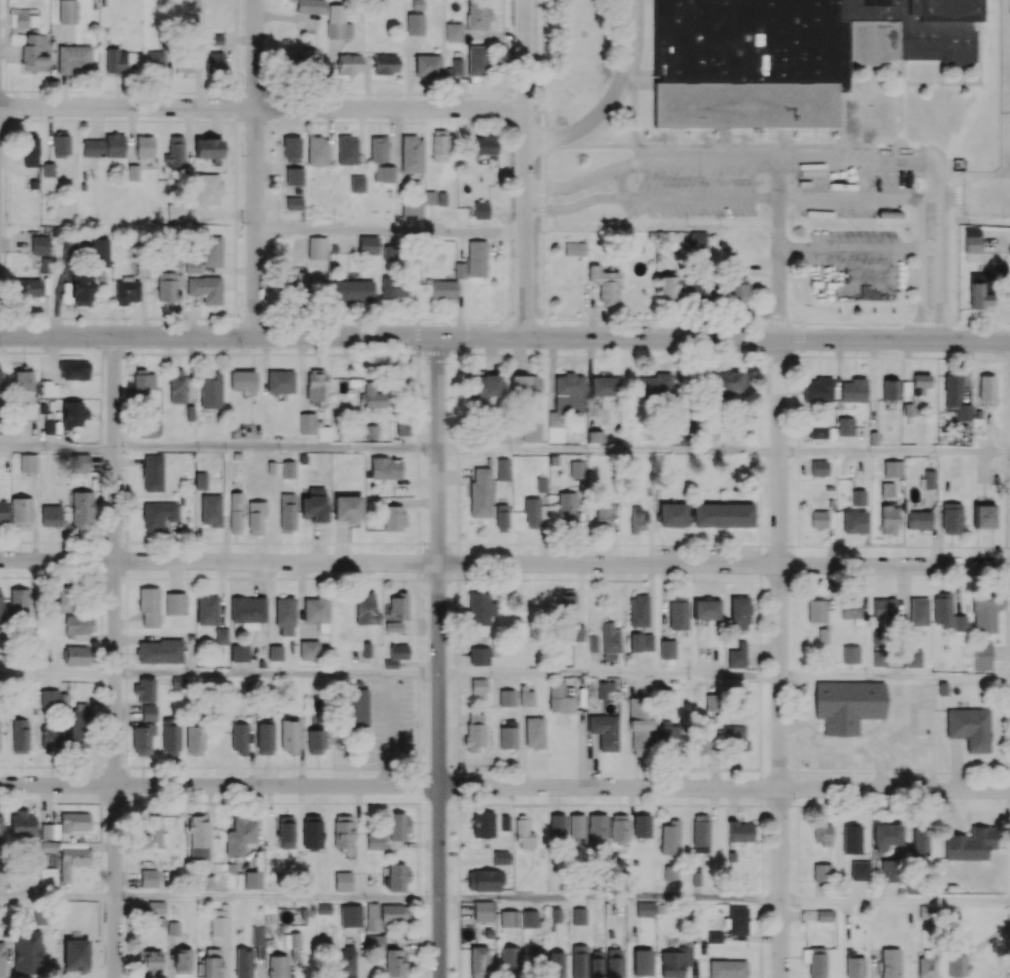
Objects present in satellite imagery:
building: (309, 6)
building: (414, 23)
building: (452, 32)
building: (427, 64)
road: (609, 96)
road: (262, 108)
road: (94, 122)
road: (213, 122)
road: (48, 134)
road: (130, 135)
building: (143, 146)
building: (316, 150)
building: (346, 150)
building: (410, 154)
road: (635, 163)
road: (256, 167)
road: (526, 168)
building: (48, 169)
building: (132, 172)
road: (269, 172)
building: (293, 176)
road: (576, 183)
building: (356, 184)
building: (82, 186)
road: (988, 194)
road: (270, 203)
building: (293, 203)
road: (578, 206)
road: (220, 212)
road: (391, 229)
road: (14, 243)
building: (38, 245)
road: (931, 246)
road: (855, 247)
road: (227, 268)
road: (43, 305)
road: (177, 312)
road: (191, 316)
road: (505, 337)
road: (277, 448)
road: (57, 450)
road: (609, 450)
road: (895, 452)
building: (26, 463)
road: (504, 563)
road: (780, 587)
road: (114, 656)
road: (439, 657)
road: (57, 673)
road: (277, 673)
road: (610, 675)
road: (895, 676)
road: (505, 786)
road: (58, 896)
road: (611, 896)
road: (278, 898)
road: (895, 903)

